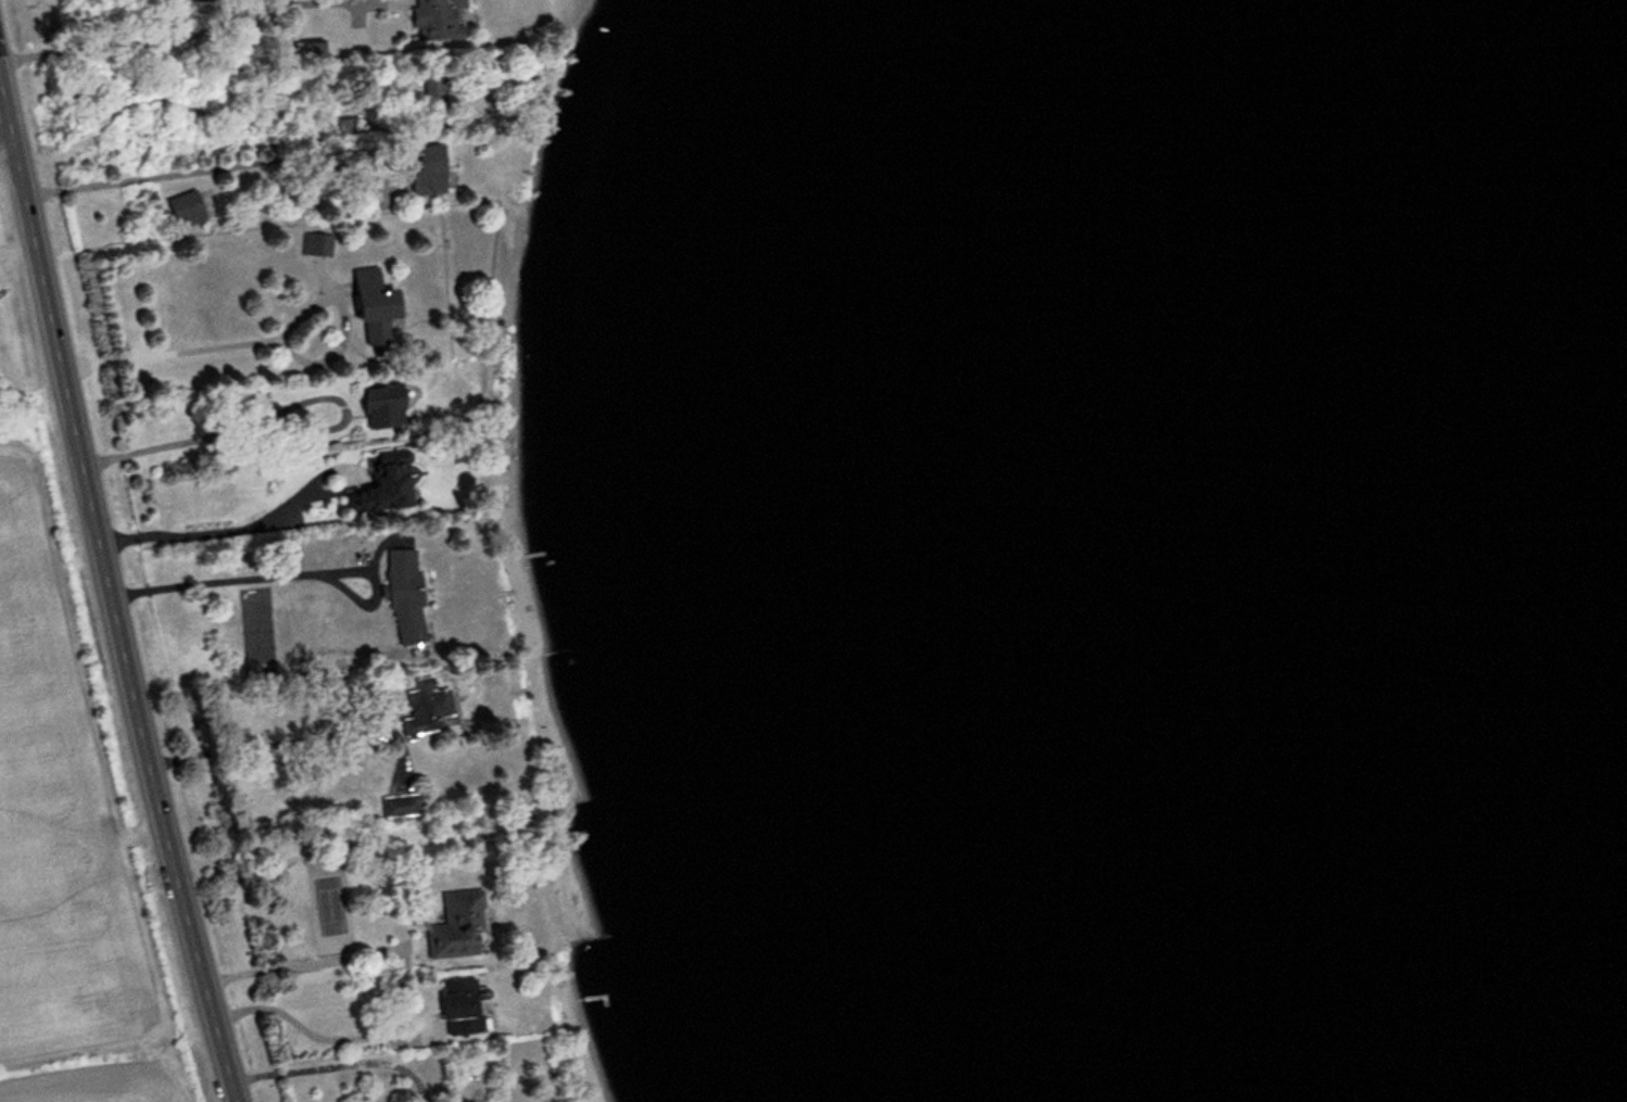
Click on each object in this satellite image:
building: (431, 20)
road: (8, 153)
building: (315, 246)
building: (367, 307)
building: (378, 407)
building: (375, 487)
road: (112, 591)
building: (400, 597)
building: (418, 707)
park: (331, 907)
building: (453, 925)
building: (455, 1008)

